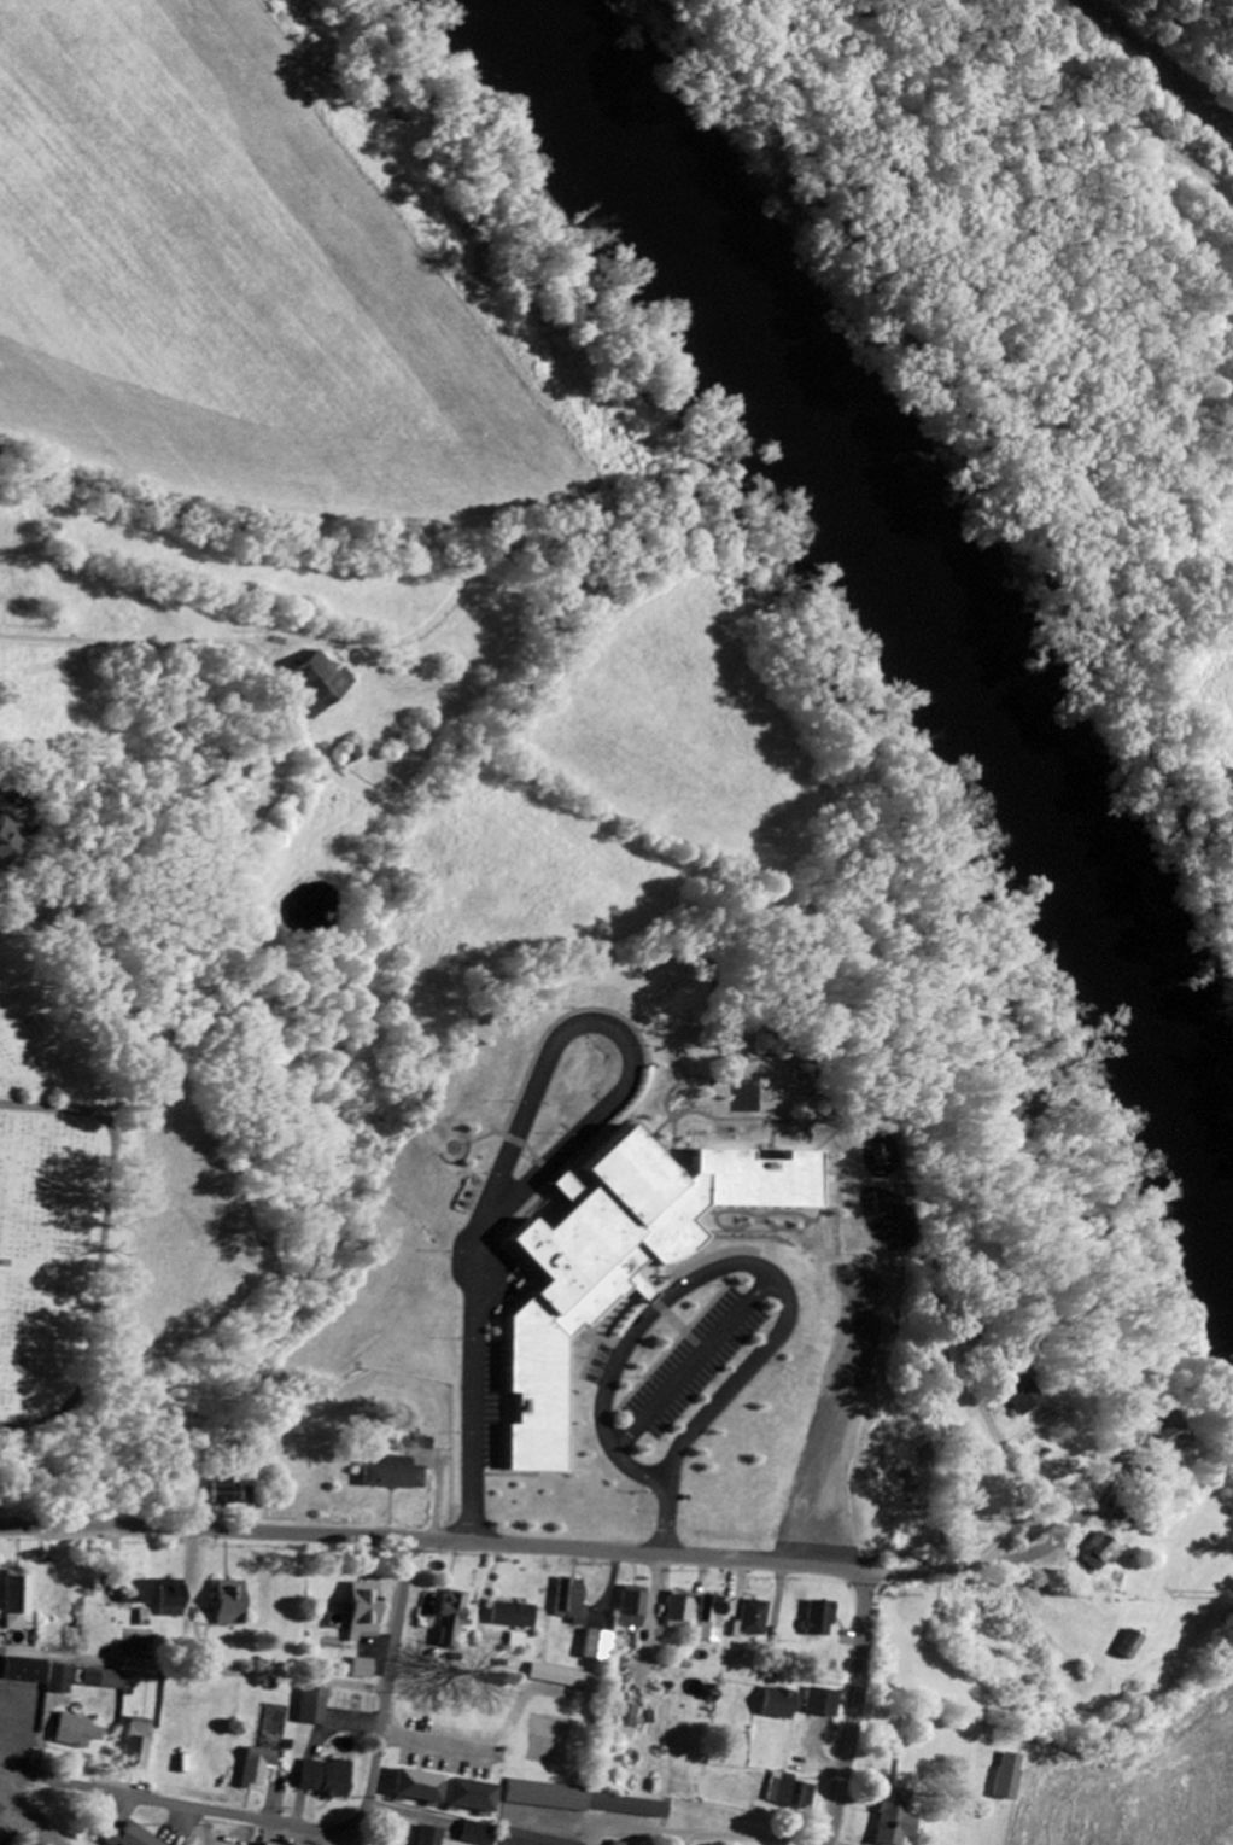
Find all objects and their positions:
railway: (1153, 66)
river: (931, 591)
road: (133, 592)
building: (322, 685)
building: (11, 843)
road: (513, 1131)
park: (49, 1170)
road: (100, 1246)
road: (778, 1288)
road: (668, 1386)
building: (1175, 1435)
road: (998, 1456)
building: (398, 1476)
building: (233, 1493)
road: (1035, 1541)
road: (434, 1545)
building: (1099, 1555)
building: (141, 1594)
building: (176, 1601)
building: (22, 1604)
building: (573, 1604)
building: (235, 1605)
building: (635, 1611)
building: (682, 1612)
building: (368, 1613)
building: (515, 1617)
building: (718, 1619)
building: (758, 1619)
building: (455, 1621)
building: (823, 1621)
building: (1130, 1646)
building: (598, 1647)
building: (364, 1671)
building: (28, 1672)
building: (566, 1678)
building: (60, 1680)
building: (105, 1681)
building: (824, 1705)
building: (782, 1706)
building: (315, 1709)
road: (854, 1710)
building: (629, 1723)
building: (77, 1733)
building: (139, 1746)
building: (258, 1769)
building: (1010, 1779)
building: (327, 1780)
building: (422, 1788)
building: (791, 1793)
building: (475, 1797)
building: (590, 1803)
road: (407, 1810)
road: (25, 1816)
building: (896, 1820)
road: (319, 1829)
road: (702, 1832)
building: (480, 1835)
building: (432, 1837)
building: (128, 1838)
building: (528, 1839)
building: (618, 1844)

